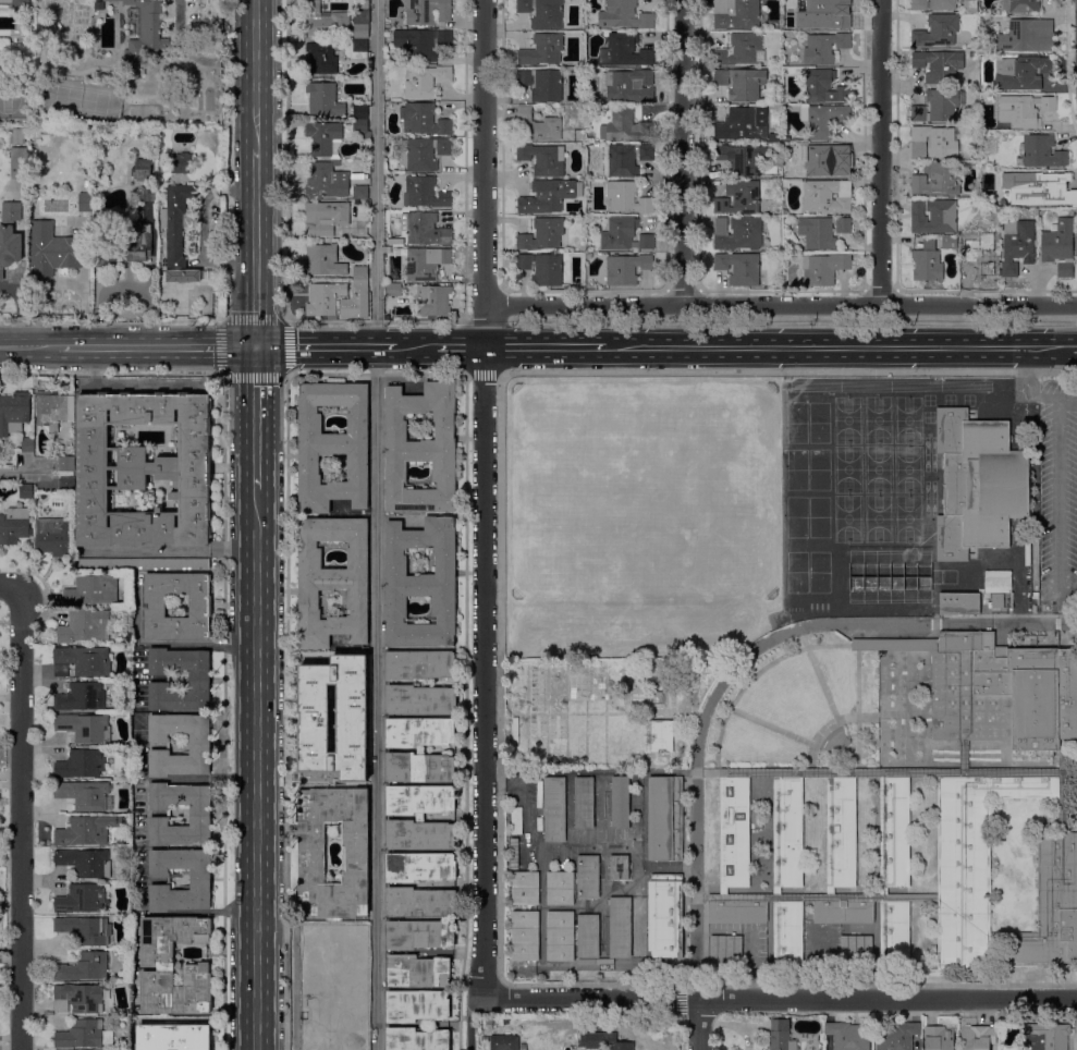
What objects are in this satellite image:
building: (7, 1)
building: (934, 4)
building: (970, 5)
building: (1020, 5)
building: (427, 11)
building: (543, 13)
building: (736, 14)
building: (624, 15)
building: (825, 15)
building: (325, 21)
building: (362, 21)
building: (938, 30)
building: (147, 32)
building: (1028, 36)
building: (0, 39)
building: (421, 42)
building: (359, 46)
building: (824, 48)
building: (741, 49)
building: (543, 50)
building: (624, 51)
building: (974, 54)
road: (195, 58)
building: (322, 59)
building: (940, 65)
building: (1021, 73)
road: (258, 74)
building: (426, 82)
building: (742, 83)
building: (542, 84)
building: (628, 86)
building: (824, 87)
building: (323, 99)
building: (938, 107)
building: (1027, 110)
building: (360, 112)
building: (824, 119)
building: (424, 120)
building: (538, 125)
building: (742, 125)
building: (626, 126)
building: (362, 127)
building: (17, 135)
building: (322, 137)
building: (779, 139)
building: (933, 143)
building: (152, 147)
building: (844, 151)
building: (1043, 151)
building: (646, 152)
road: (683, 152)
road: (880, 152)
building: (426, 154)
building: (543, 159)
building: (742, 159)
road: (285, 160)
building: (622, 161)
building: (182, 162)
building: (824, 162)
building: (19, 163)
building: (142, 170)
building: (773, 170)
building: (935, 180)
building: (327, 181)
building: (791, 182)
building: (88, 184)
building: (1055, 190)
building: (360, 192)
building: (425, 193)
building: (148, 194)
building: (549, 196)
building: (627, 197)
building: (827, 197)
building: (739, 198)
building: (85, 203)
building: (367, 204)
building: (979, 204)
building: (778, 212)
building: (934, 217)
building: (326, 218)
building: (176, 224)
building: (425, 229)
building: (102, 231)
building: (822, 231)
building: (738, 233)
building: (542, 234)
building: (625, 235)
building: (10, 236)
building: (394, 243)
building: (950, 243)
building: (136, 244)
building: (364, 246)
building: (1017, 246)
building: (1060, 246)
road: (256, 247)
building: (52, 251)
building: (388, 251)
building: (980, 252)
building: (588, 256)
building: (106, 257)
building: (325, 260)
building: (426, 262)
building: (928, 265)
building: (1076, 266)
building: (739, 268)
building: (823, 268)
building: (542, 269)
building: (626, 269)
building: (360, 273)
road: (60, 281)
building: (360, 286)
building: (394, 290)
building: (327, 300)
building: (435, 302)
building: (163, 304)
road: (780, 306)
road: (19, 310)
road: (284, 320)
traffic signals: (257, 346)
road: (326, 346)
road: (415, 346)
road: (460, 346)
road: (542, 346)
road: (836, 346)
road: (1074, 346)
road: (28, 347)
road: (157, 347)
road: (1026, 359)
road: (377, 374)
road: (1026, 389)
road: (1055, 398)
building: (54, 408)
building: (14, 412)
road: (257, 418)
building: (27, 444)
building: (333, 447)
building: (421, 449)
building: (66, 464)
building: (144, 469)
park: (876, 471)
road: (24, 475)
building: (68, 485)
building: (978, 485)
building: (25, 490)
parking lot: (1057, 492)
road: (1056, 504)
park: (640, 520)
road: (377, 524)
building: (14, 525)
road: (482, 526)
building: (56, 536)
road: (172, 551)
building: (142, 563)
building: (333, 581)
building: (421, 583)
building: (998, 584)
road: (7, 586)
building: (93, 589)
road: (1067, 598)
building: (996, 600)
building: (958, 602)
building: (200, 606)
road: (1057, 618)
road: (841, 623)
building: (85, 626)
building: (83, 662)
building: (420, 664)
road: (818, 675)
road: (752, 676)
road: (499, 677)
building: (199, 679)
building: (996, 689)
building: (82, 696)
building: (420, 700)
road: (857, 705)
park: (787, 710)
road: (223, 712)
road: (286, 712)
road: (465, 712)
building: (334, 718)
building: (86, 728)
road: (770, 728)
road: (827, 729)
building: (419, 732)
building: (659, 736)
road: (963, 742)
building: (200, 747)
building: (82, 765)
building: (419, 768)
road: (257, 770)
road: (878, 773)
building: (320, 776)
road: (1063, 791)
building: (85, 795)
building: (419, 799)
building: (585, 803)
building: (621, 804)
building: (554, 809)
building: (200, 814)
building: (1064, 815)
road: (21, 819)
building: (664, 819)
building: (87, 830)
building: (738, 832)
building: (845, 832)
building: (899, 832)
building: (792, 833)
building: (419, 835)
road: (882, 835)
road: (721, 837)
road: (774, 837)
road: (828, 837)
building: (514, 854)
building: (313, 859)
building: (86, 863)
building: (420, 867)
building: (619, 868)
road: (695, 875)
building: (963, 875)
building: (588, 877)
building: (201, 880)
building: (525, 888)
building: (560, 890)
road: (829, 899)
building: (82, 900)
building: (420, 903)
building: (737, 913)
building: (843, 914)
building: (664, 917)
building: (620, 928)
building: (86, 929)
building: (894, 931)
building: (786, 933)
building: (420, 935)
building: (525, 937)
building: (560, 937)
building: (588, 937)
building: (856, 950)
building: (726, 951)
parking lot: (736, 951)
building: (158, 966)
building: (84, 967)
building: (418, 972)
building: (353, 973)
building: (78, 999)
road: (590, 999)
road: (888, 999)
building: (417, 1006)
building: (490, 1022)
road: (699, 1024)
building: (781, 1034)
building: (84, 1035)
building: (849, 1036)
building: (897, 1036)
building: (173, 1037)
building: (1048, 1037)
building: (939, 1038)
building: (978, 1038)
building: (341, 1039)
building: (417, 1039)
building: (486, 1039)
building: (603, 1041)
building: (505, 1042)

